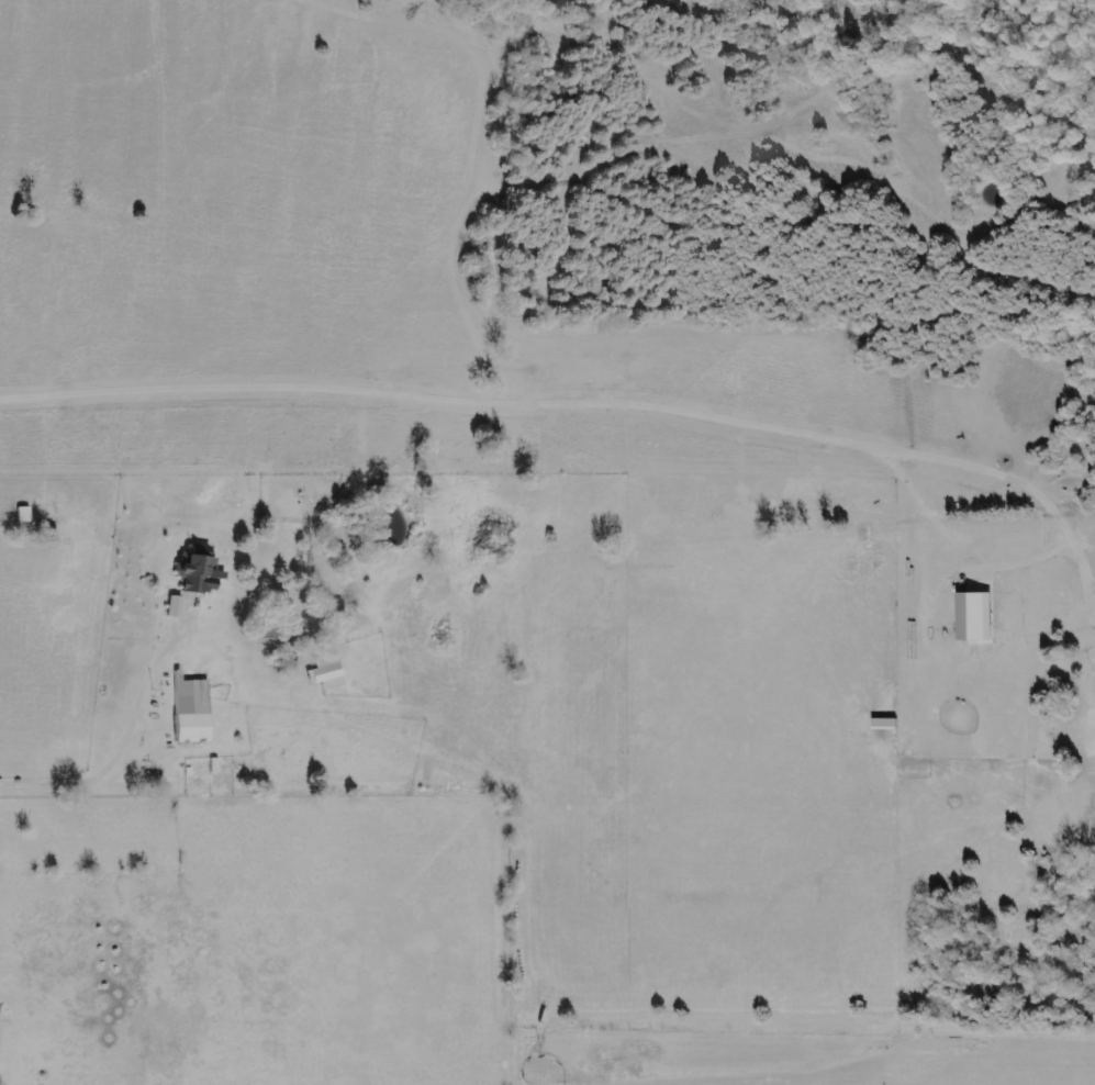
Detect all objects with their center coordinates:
building: (201, 574)
building: (177, 606)
building: (977, 617)
building: (327, 672)
building: (194, 711)
road: (123, 748)

